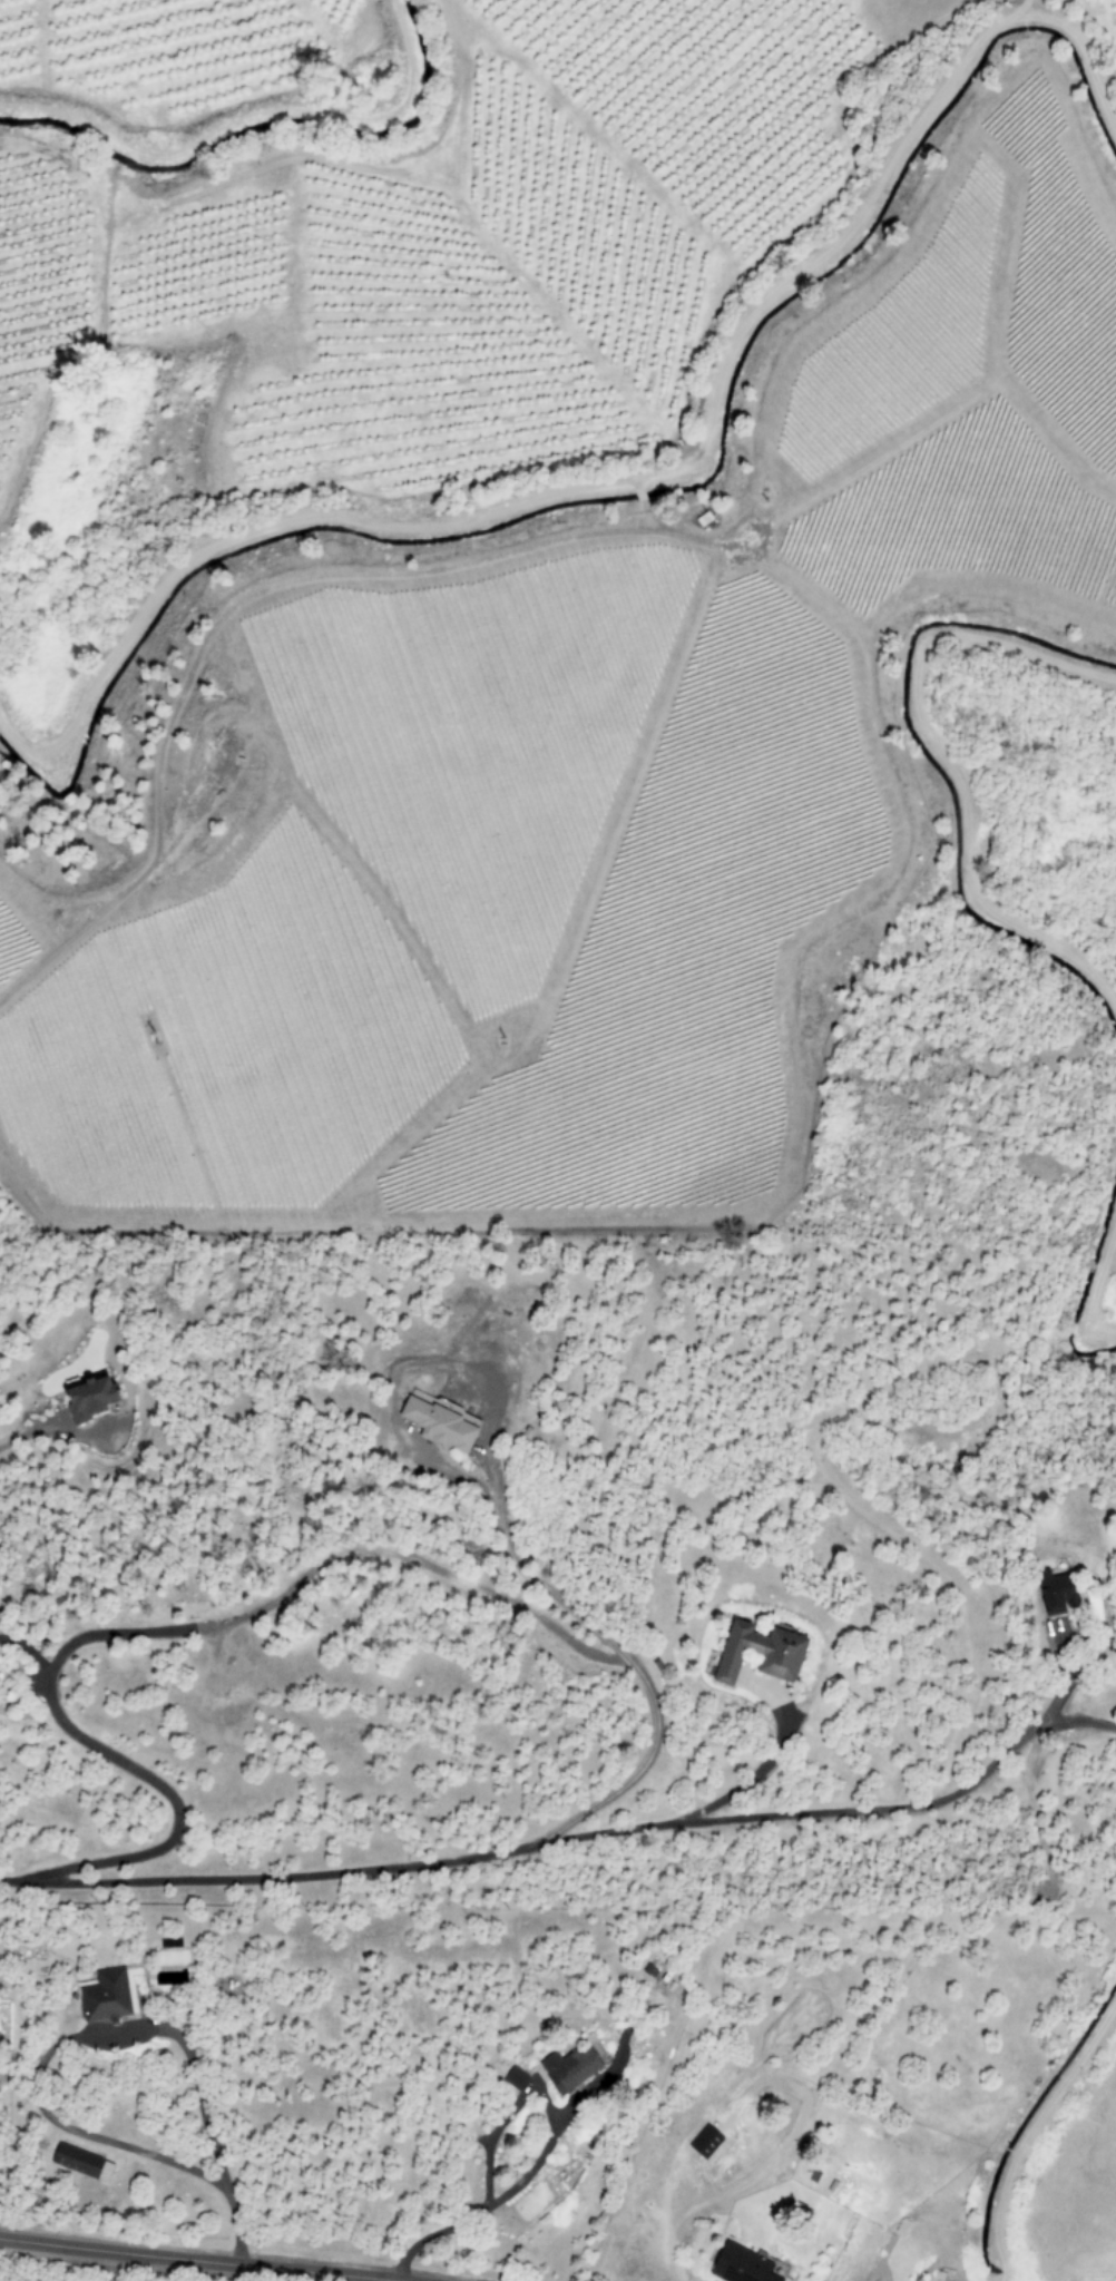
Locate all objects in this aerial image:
road: (244, 124)
road: (656, 476)
road: (249, 596)
road: (943, 763)
road: (1094, 1296)
building: (90, 1398)
building: (439, 1423)
building: (1055, 1594)
building: (760, 1653)
building: (107, 1995)
road: (96, 2035)
building: (570, 2067)
building: (516, 2077)
road: (1028, 2132)
building: (705, 2141)
building: (78, 2160)
road: (189, 2259)
building: (741, 2265)

